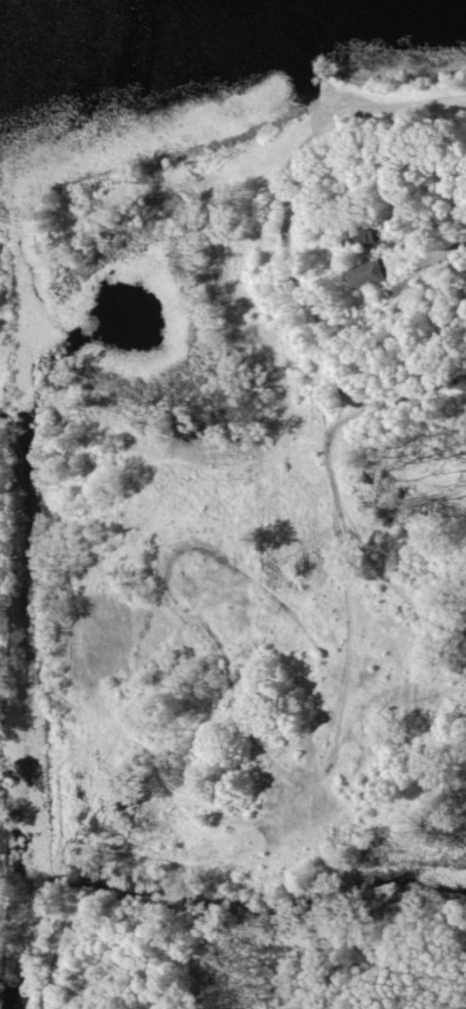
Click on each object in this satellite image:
road: (454, 166)
building: (362, 236)
building: (367, 274)

